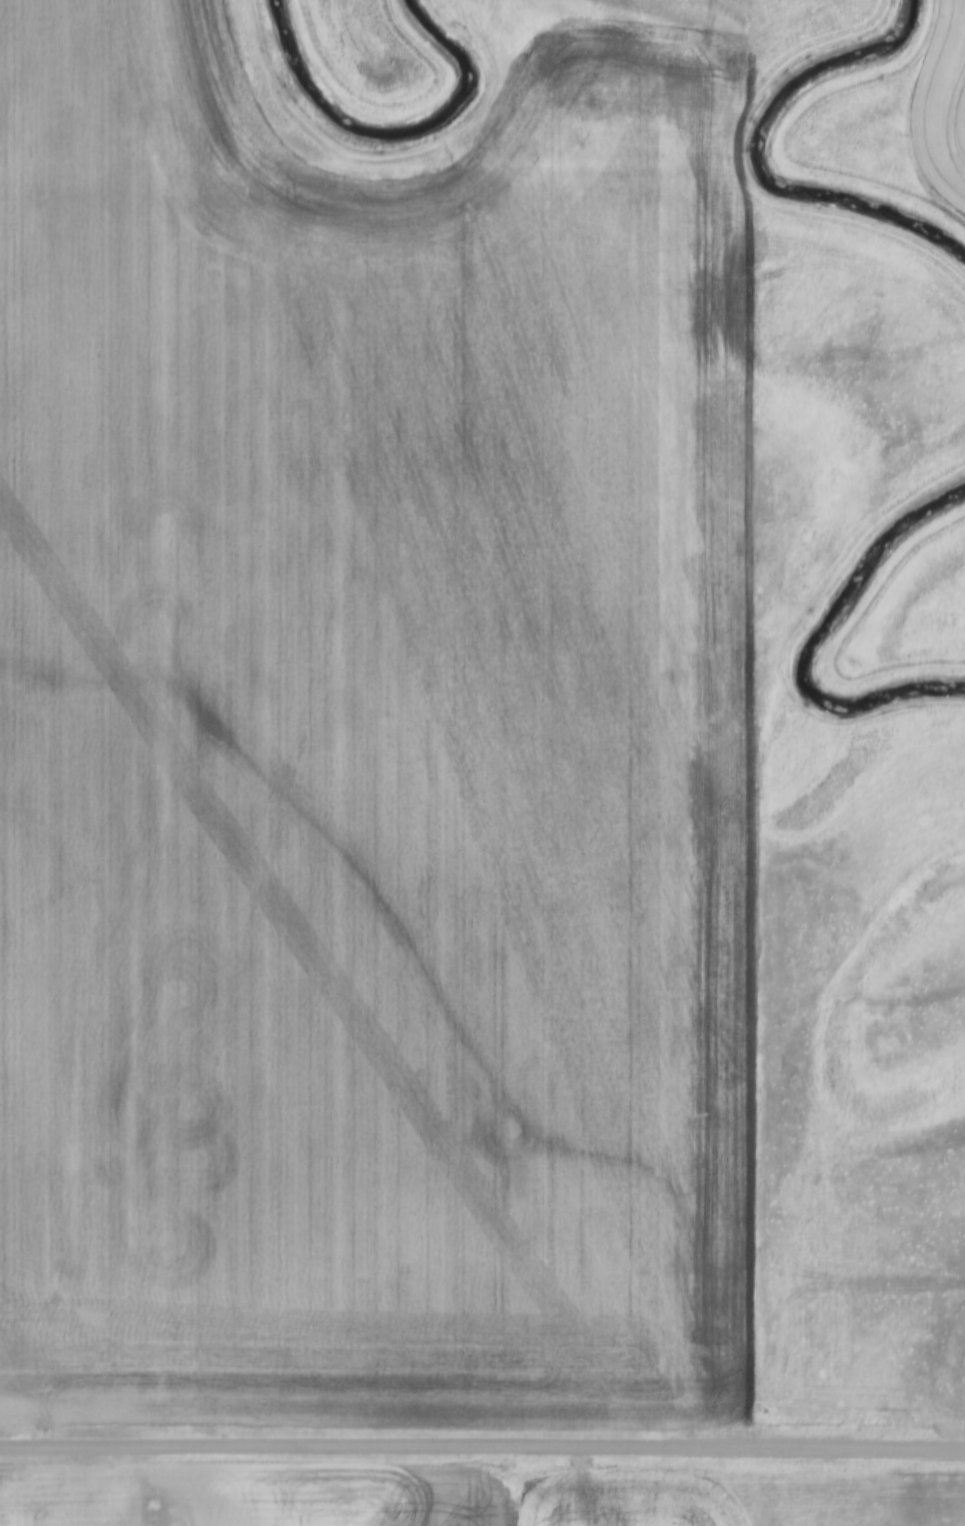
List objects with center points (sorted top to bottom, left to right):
road: (482, 1451)

